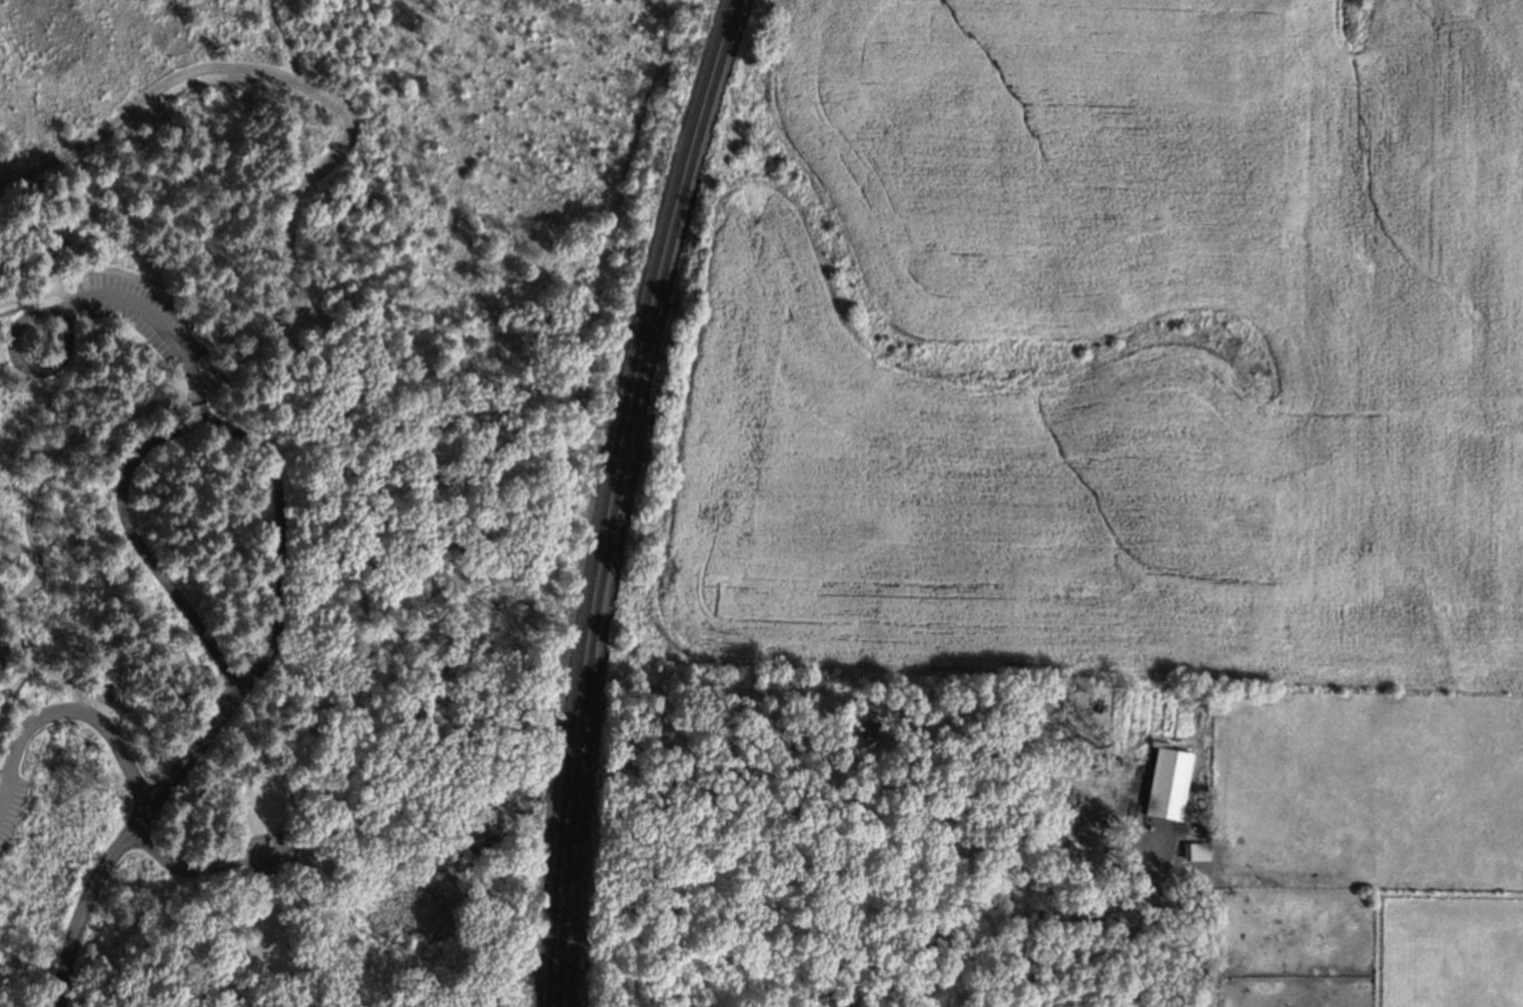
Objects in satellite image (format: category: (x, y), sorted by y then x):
road: (72, 303)
crop: (1116, 346)
road: (250, 356)
parking lot: (173, 361)
road: (348, 383)
road: (191, 427)
railway: (606, 497)
railway: (615, 497)
road: (130, 772)
parking lot: (10, 802)
road: (126, 840)
parking lot: (259, 841)
building: (1198, 852)
road: (311, 864)

